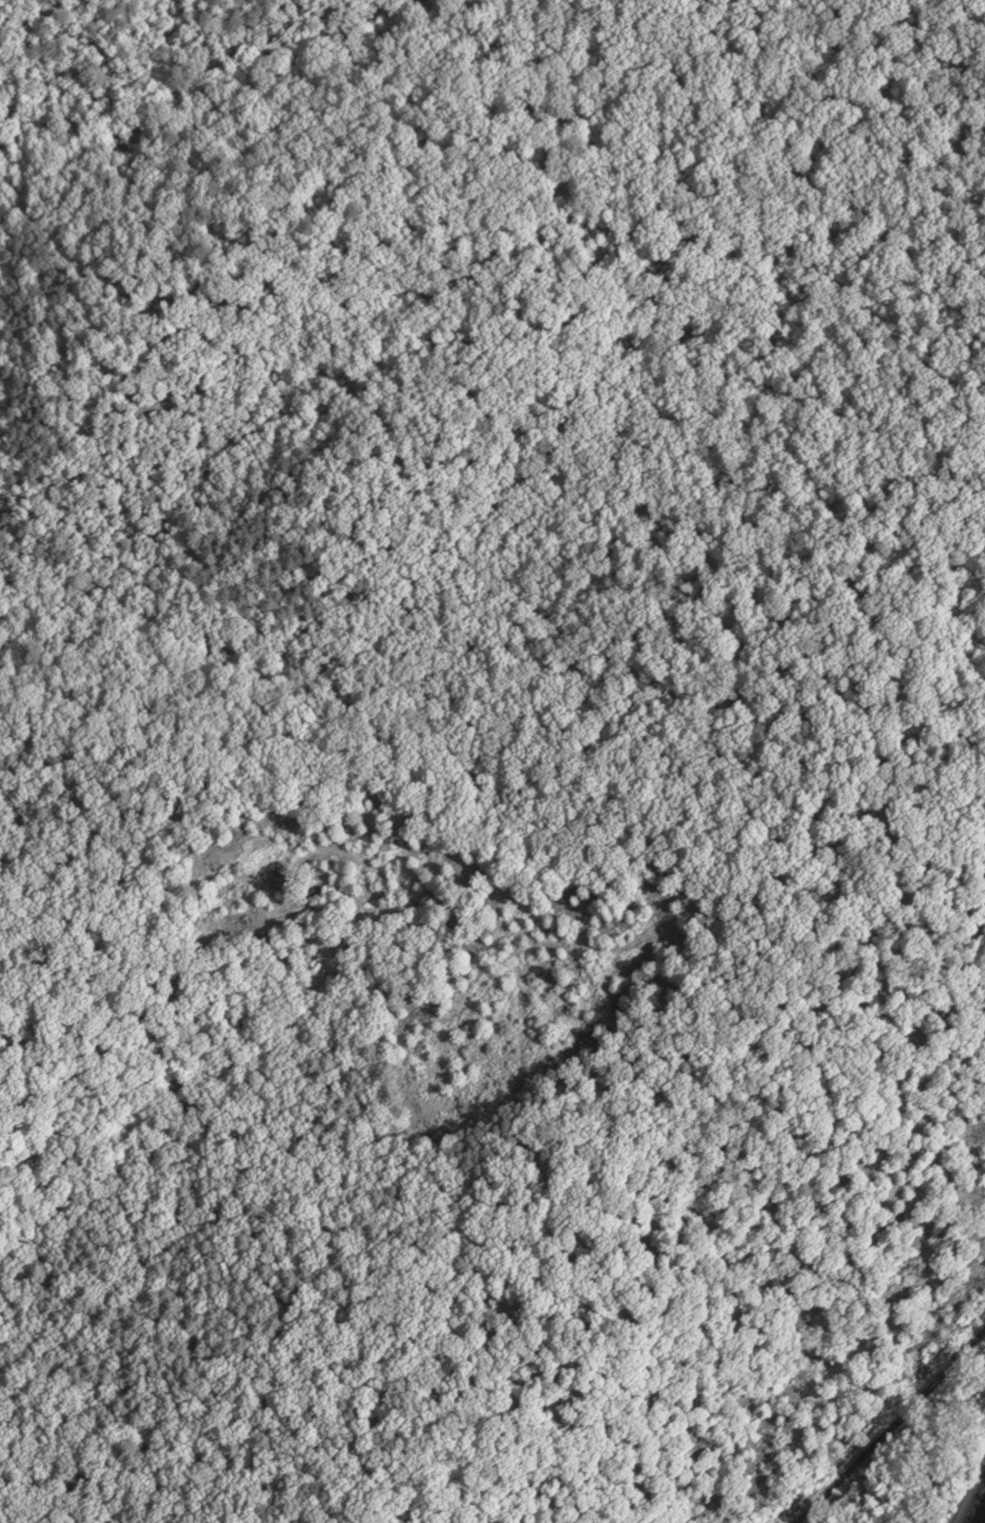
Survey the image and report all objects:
road: (891, 1425)
railway: (974, 1500)
railway: (979, 1510)

